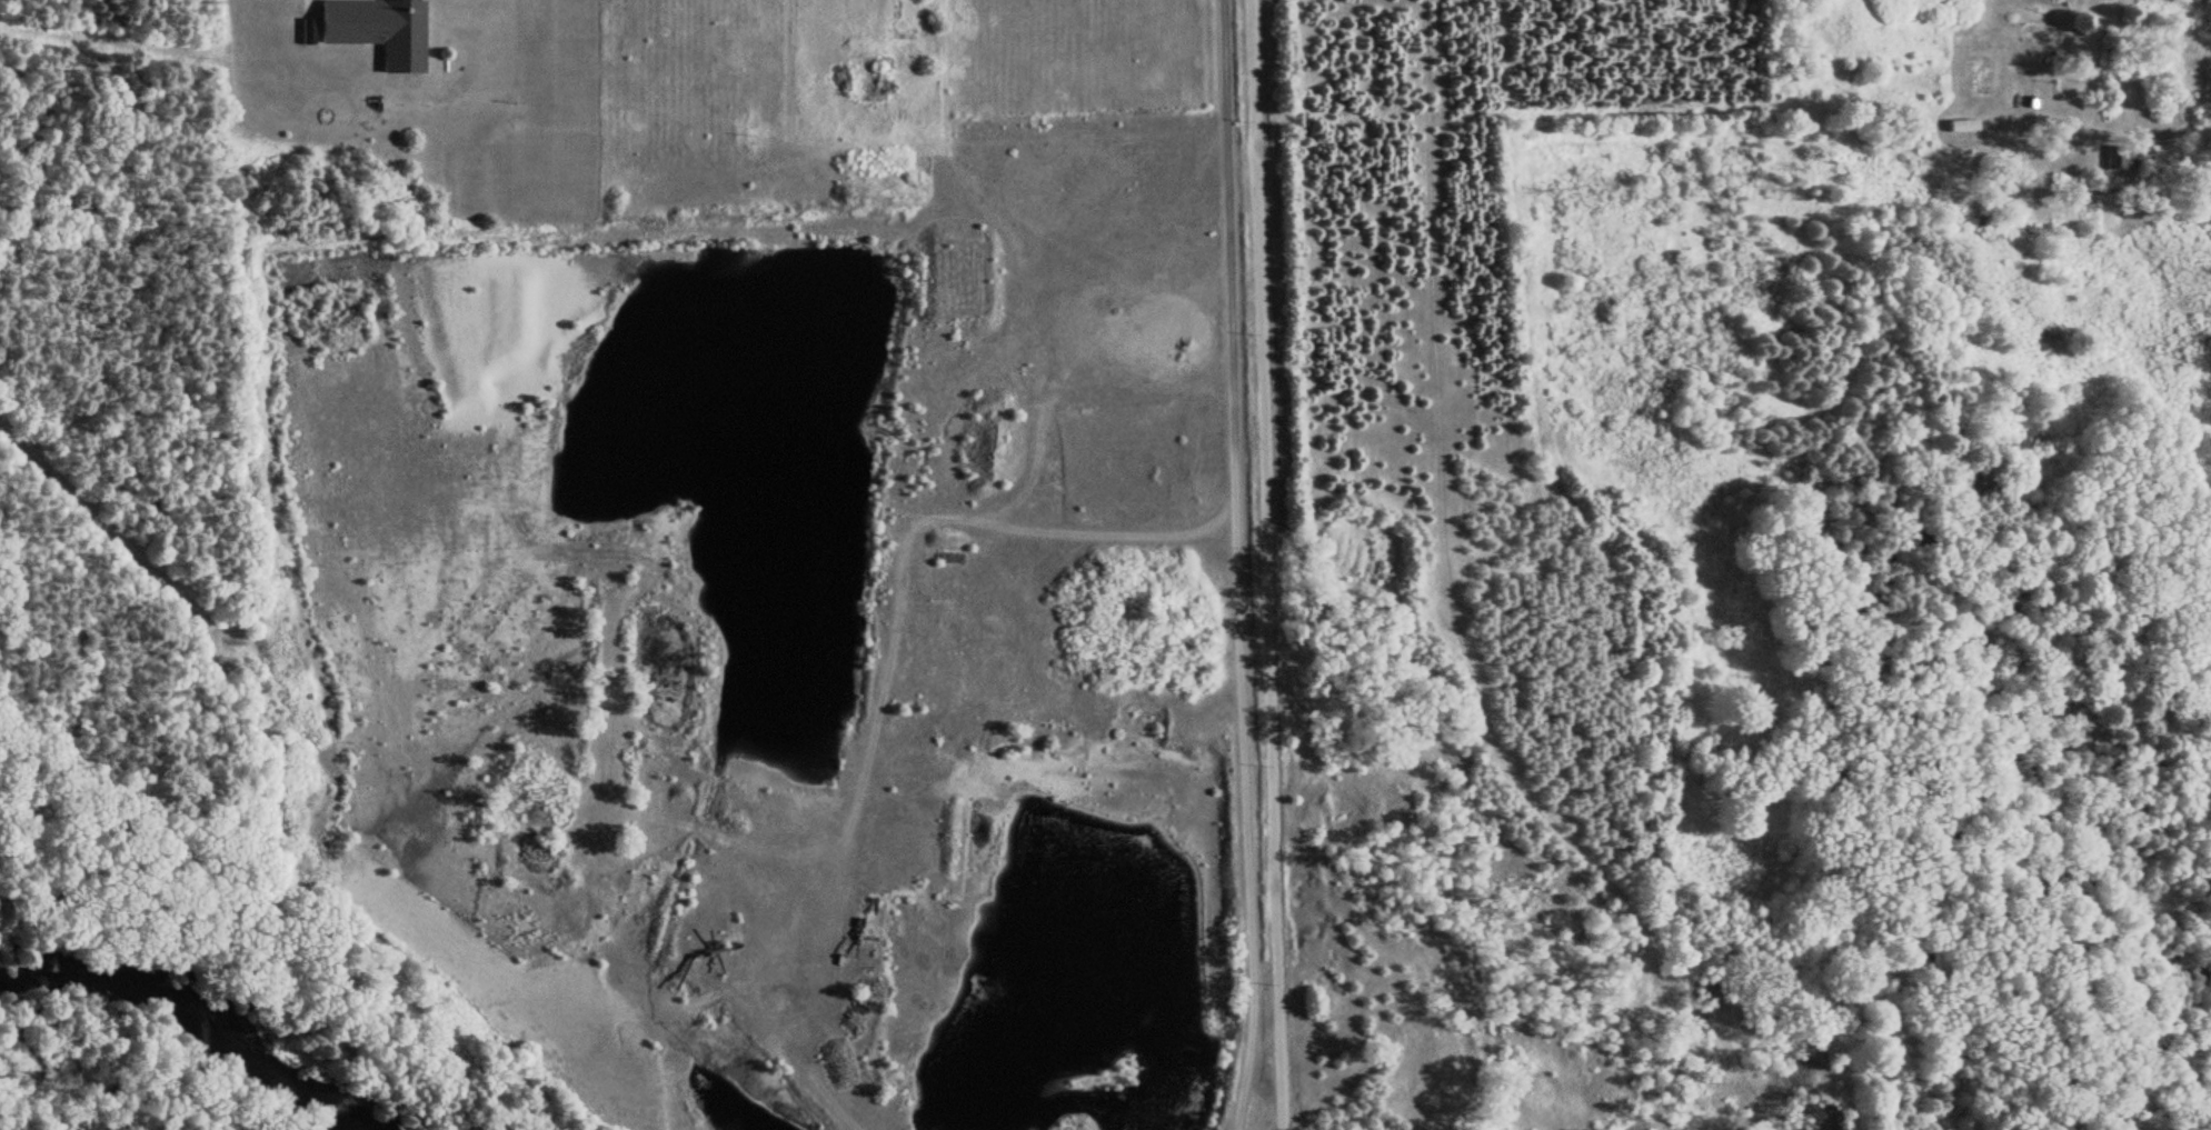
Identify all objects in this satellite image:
building: (378, 29)
building: (2117, 158)
road: (1265, 564)
road: (1232, 566)
river: (195, 1019)

